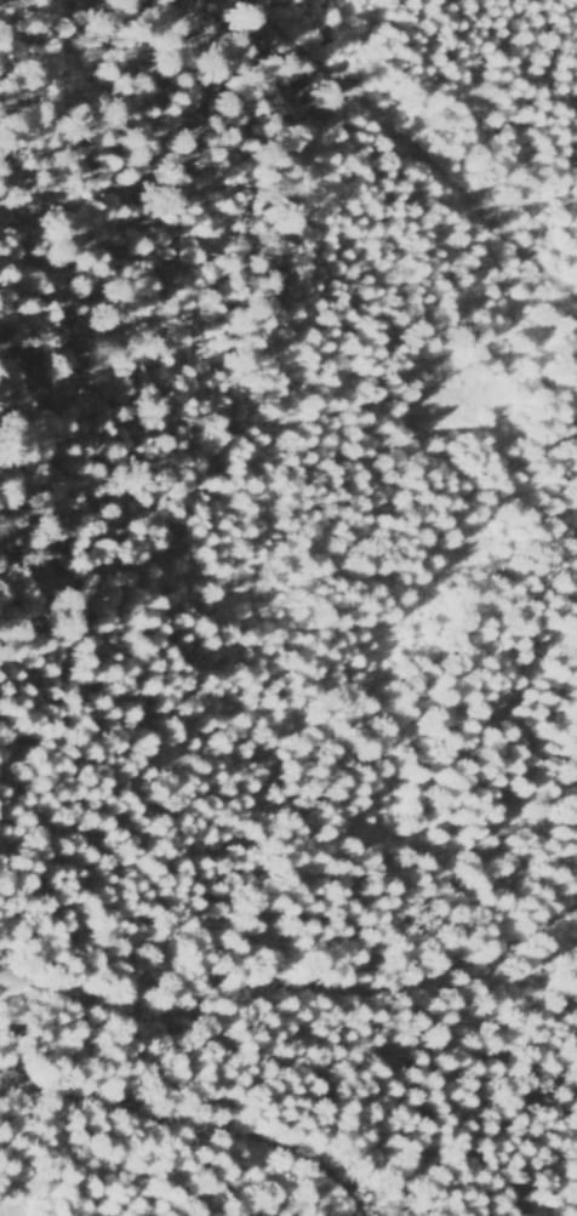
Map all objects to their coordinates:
road: (293, 997)
road: (182, 1127)

